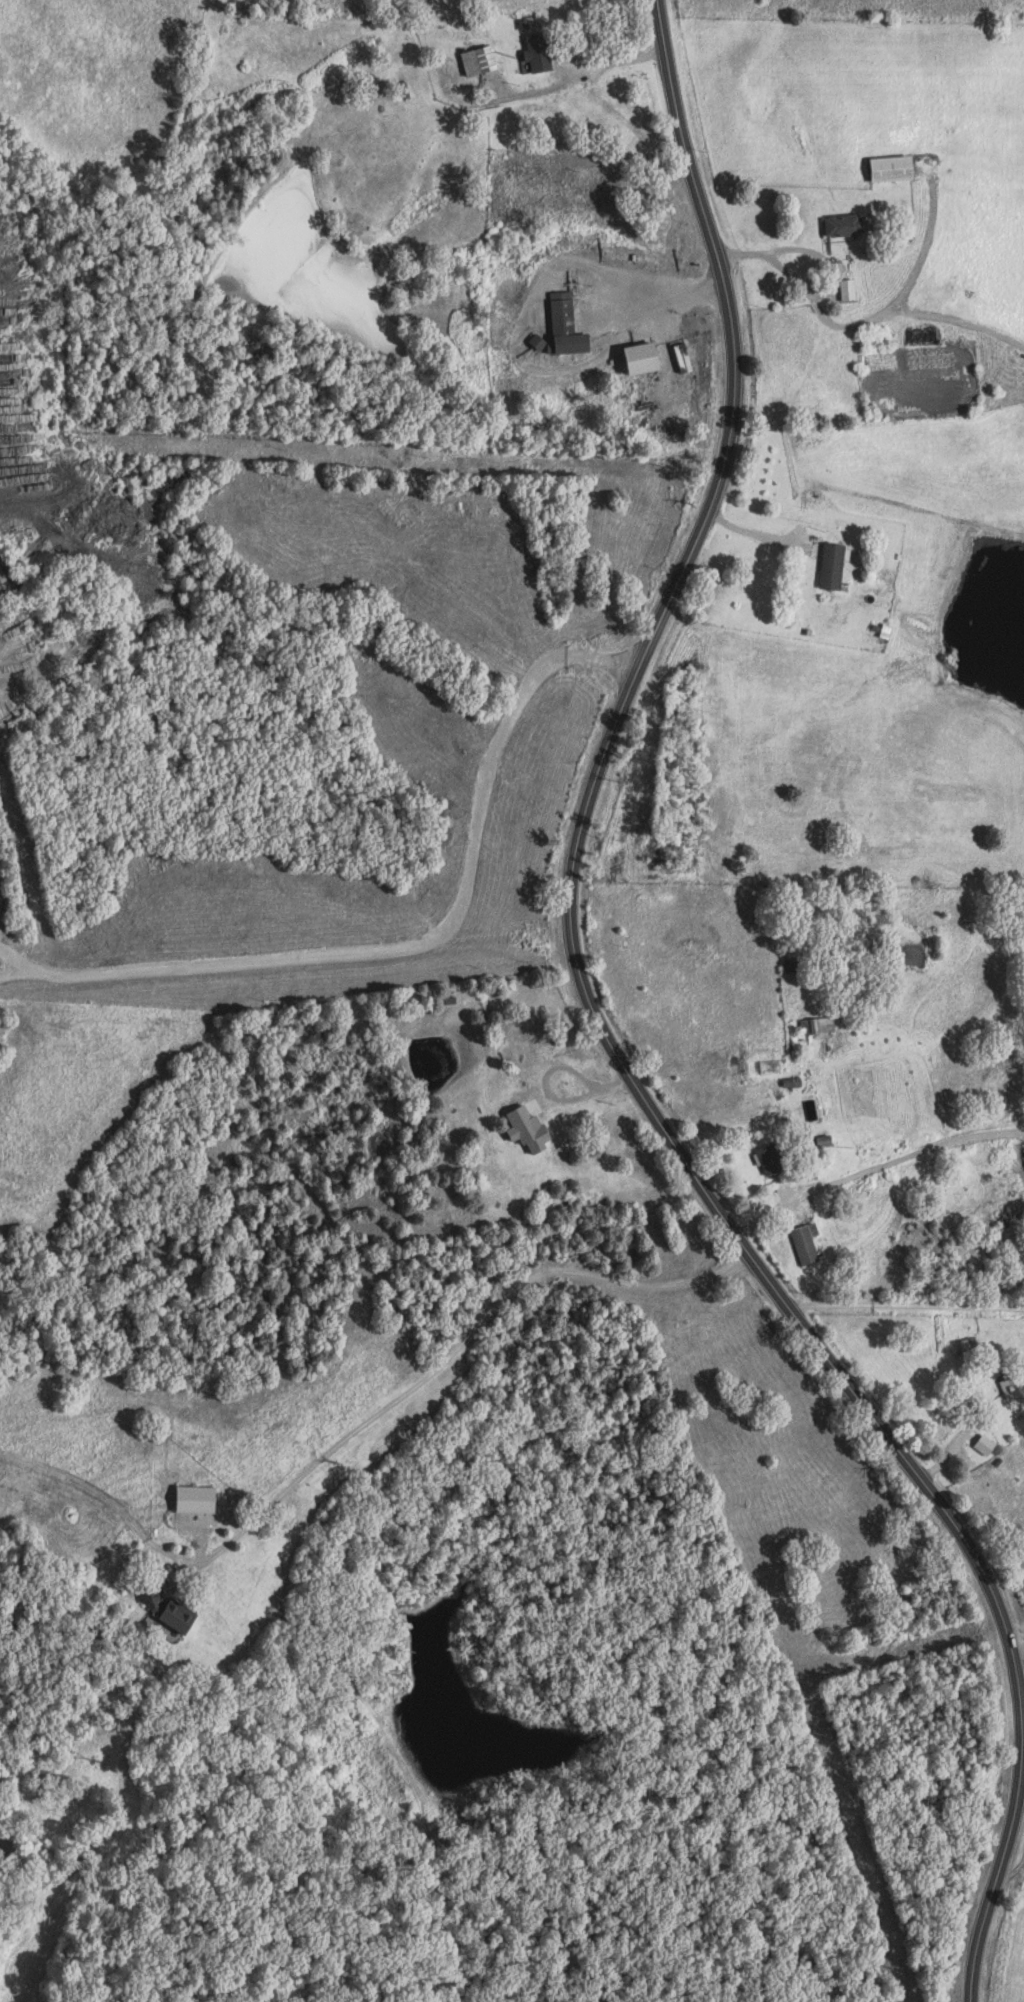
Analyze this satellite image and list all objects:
building: (545, 53)
building: (486, 61)
building: (901, 169)
building: (853, 226)
building: (855, 290)
building: (573, 327)
building: (651, 359)
building: (840, 567)
road: (416, 943)
road: (11, 965)
road: (608, 1043)
building: (536, 1129)
building: (812, 1243)
road: (906, 1310)
building: (1017, 1388)
building: (992, 1445)
building: (204, 1499)
building: (159, 1596)
building: (186, 1617)

